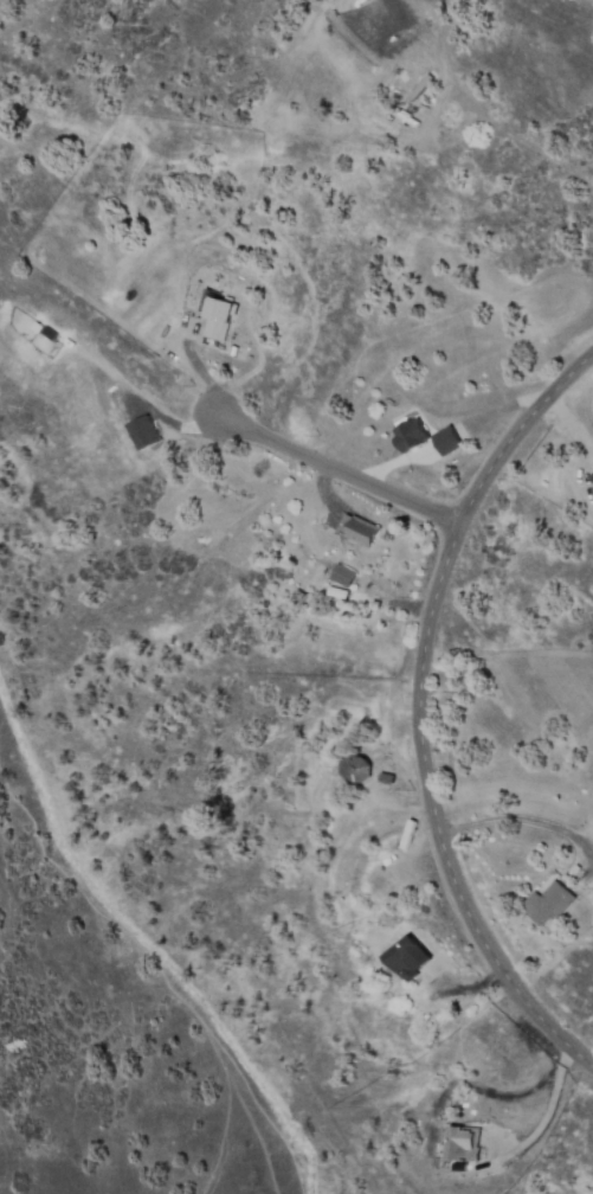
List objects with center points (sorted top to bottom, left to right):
building: (219, 316)
building: (232, 349)
building: (412, 435)
building: (449, 441)
road: (336, 474)
building: (592, 475)
building: (360, 531)
building: (344, 577)
building: (298, 596)
road: (426, 711)
building: (356, 770)
building: (386, 777)
building: (574, 869)
building: (310, 899)
building: (549, 904)
building: (408, 958)
building: (458, 1142)

